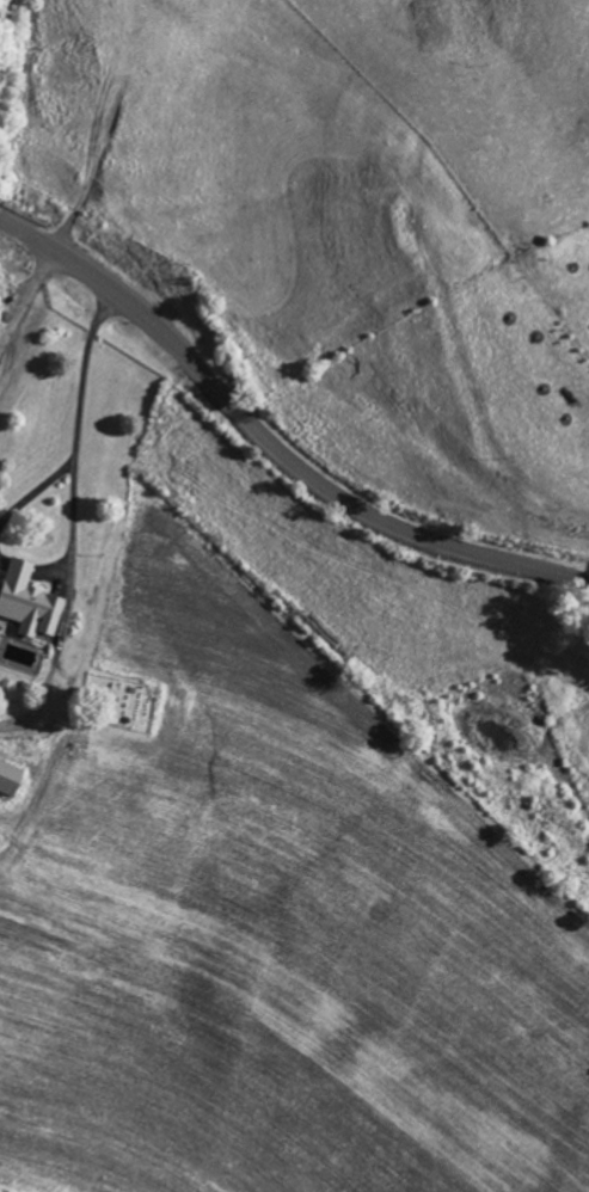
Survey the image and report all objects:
road: (23, 296)
road: (70, 417)
road: (270, 446)
building: (25, 604)
road: (61, 610)
building: (8, 784)

